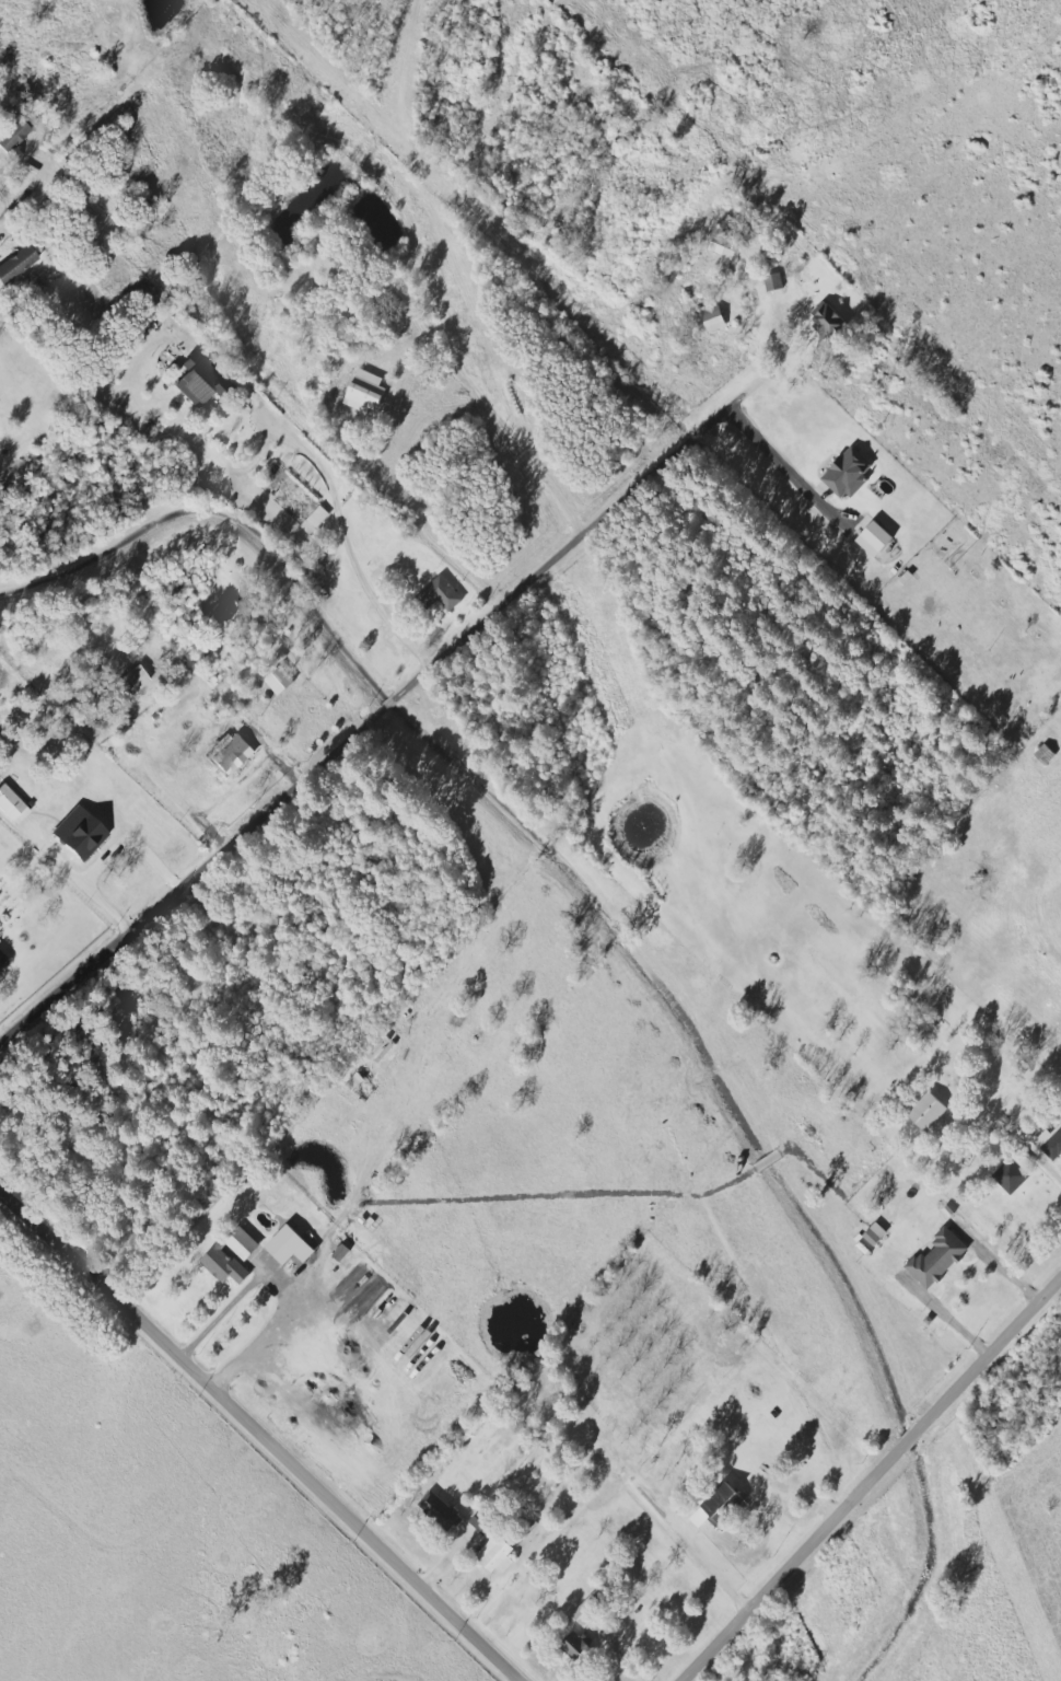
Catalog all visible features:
building: (14, 135)
road: (21, 197)
building: (721, 251)
building: (18, 264)
building: (773, 281)
building: (713, 318)
building: (828, 318)
building: (203, 380)
building: (366, 392)
road: (782, 462)
building: (848, 473)
building: (315, 520)
building: (876, 538)
road: (349, 542)
building: (442, 593)
building: (222, 610)
building: (135, 680)
building: (280, 681)
road: (378, 719)
building: (232, 753)
building: (1045, 754)
building: (12, 804)
building: (81, 832)
road: (79, 878)
building: (928, 1112)
building: (1050, 1144)
road: (1046, 1161)
building: (1011, 1175)
building: (875, 1233)
building: (244, 1243)
building: (280, 1249)
building: (938, 1259)
building: (224, 1264)
building: (363, 1283)
road: (279, 1287)
road: (945, 1313)
road: (259, 1428)
road: (872, 1480)
building: (715, 1507)
building: (439, 1510)
building: (482, 1522)
building: (498, 1554)
road: (714, 1569)
building: (587, 1610)
building: (576, 1647)

